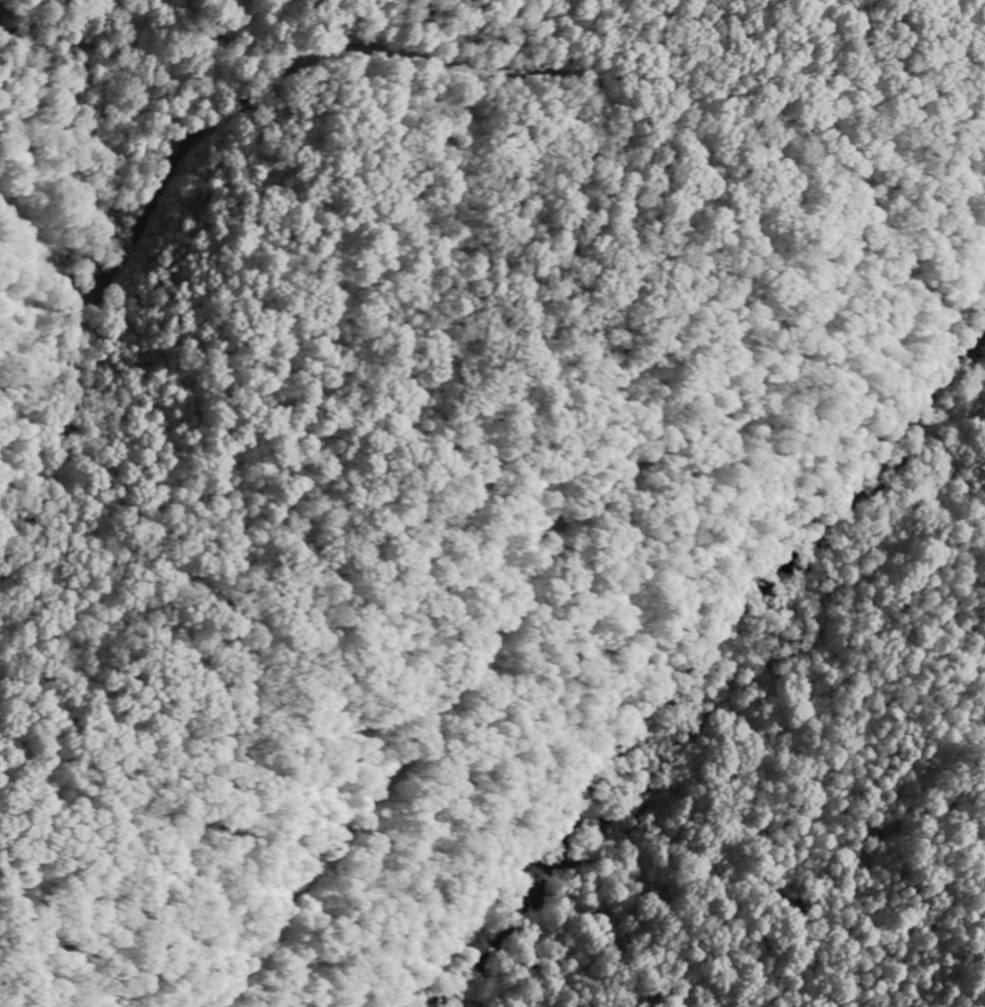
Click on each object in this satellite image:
road: (981, 4)
road: (858, 193)
road: (641, 540)

